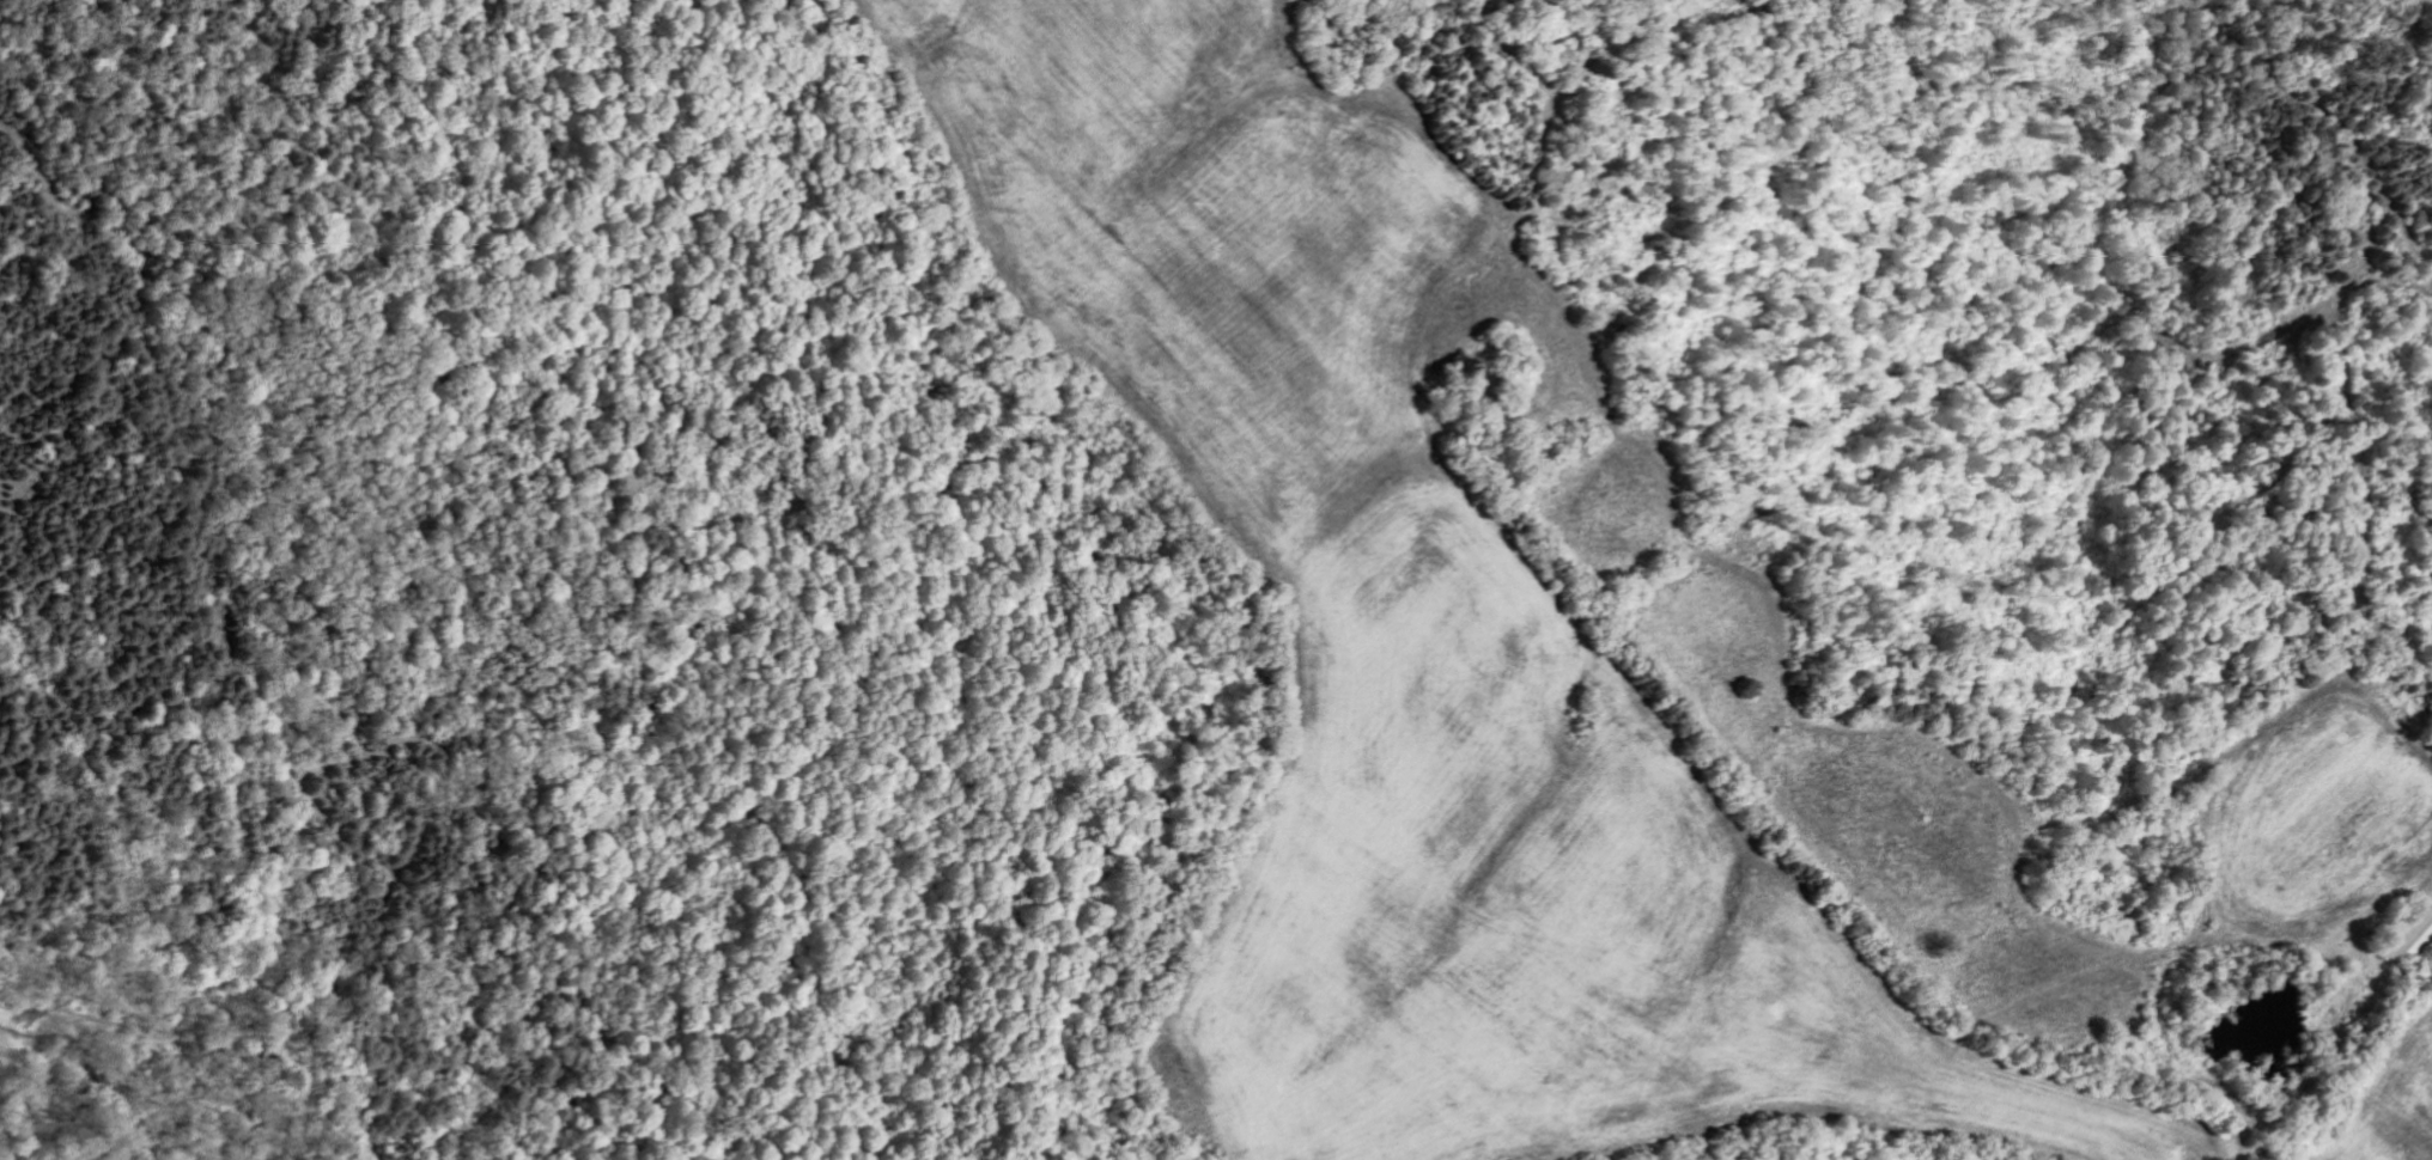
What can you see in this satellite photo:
building: (2407, 936)

